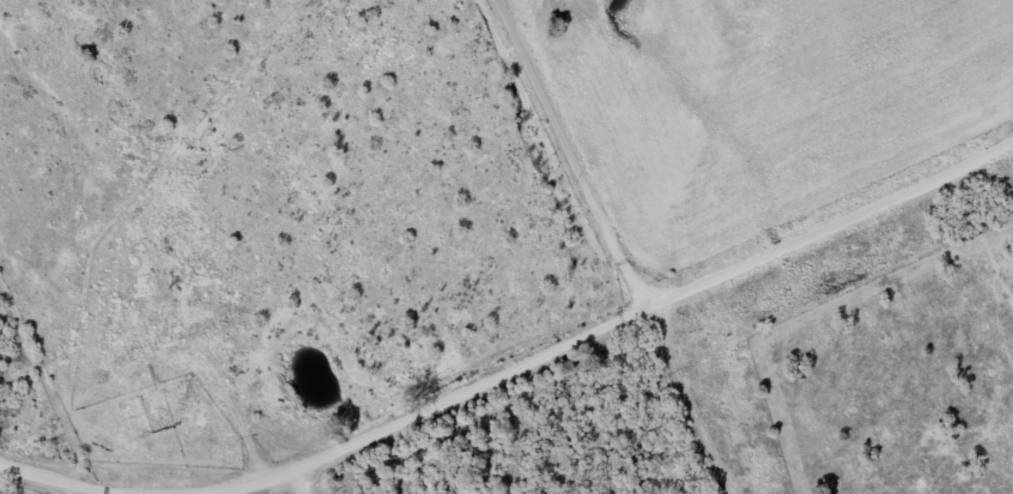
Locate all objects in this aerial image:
road: (610, 256)
road: (645, 328)
road: (48, 479)

